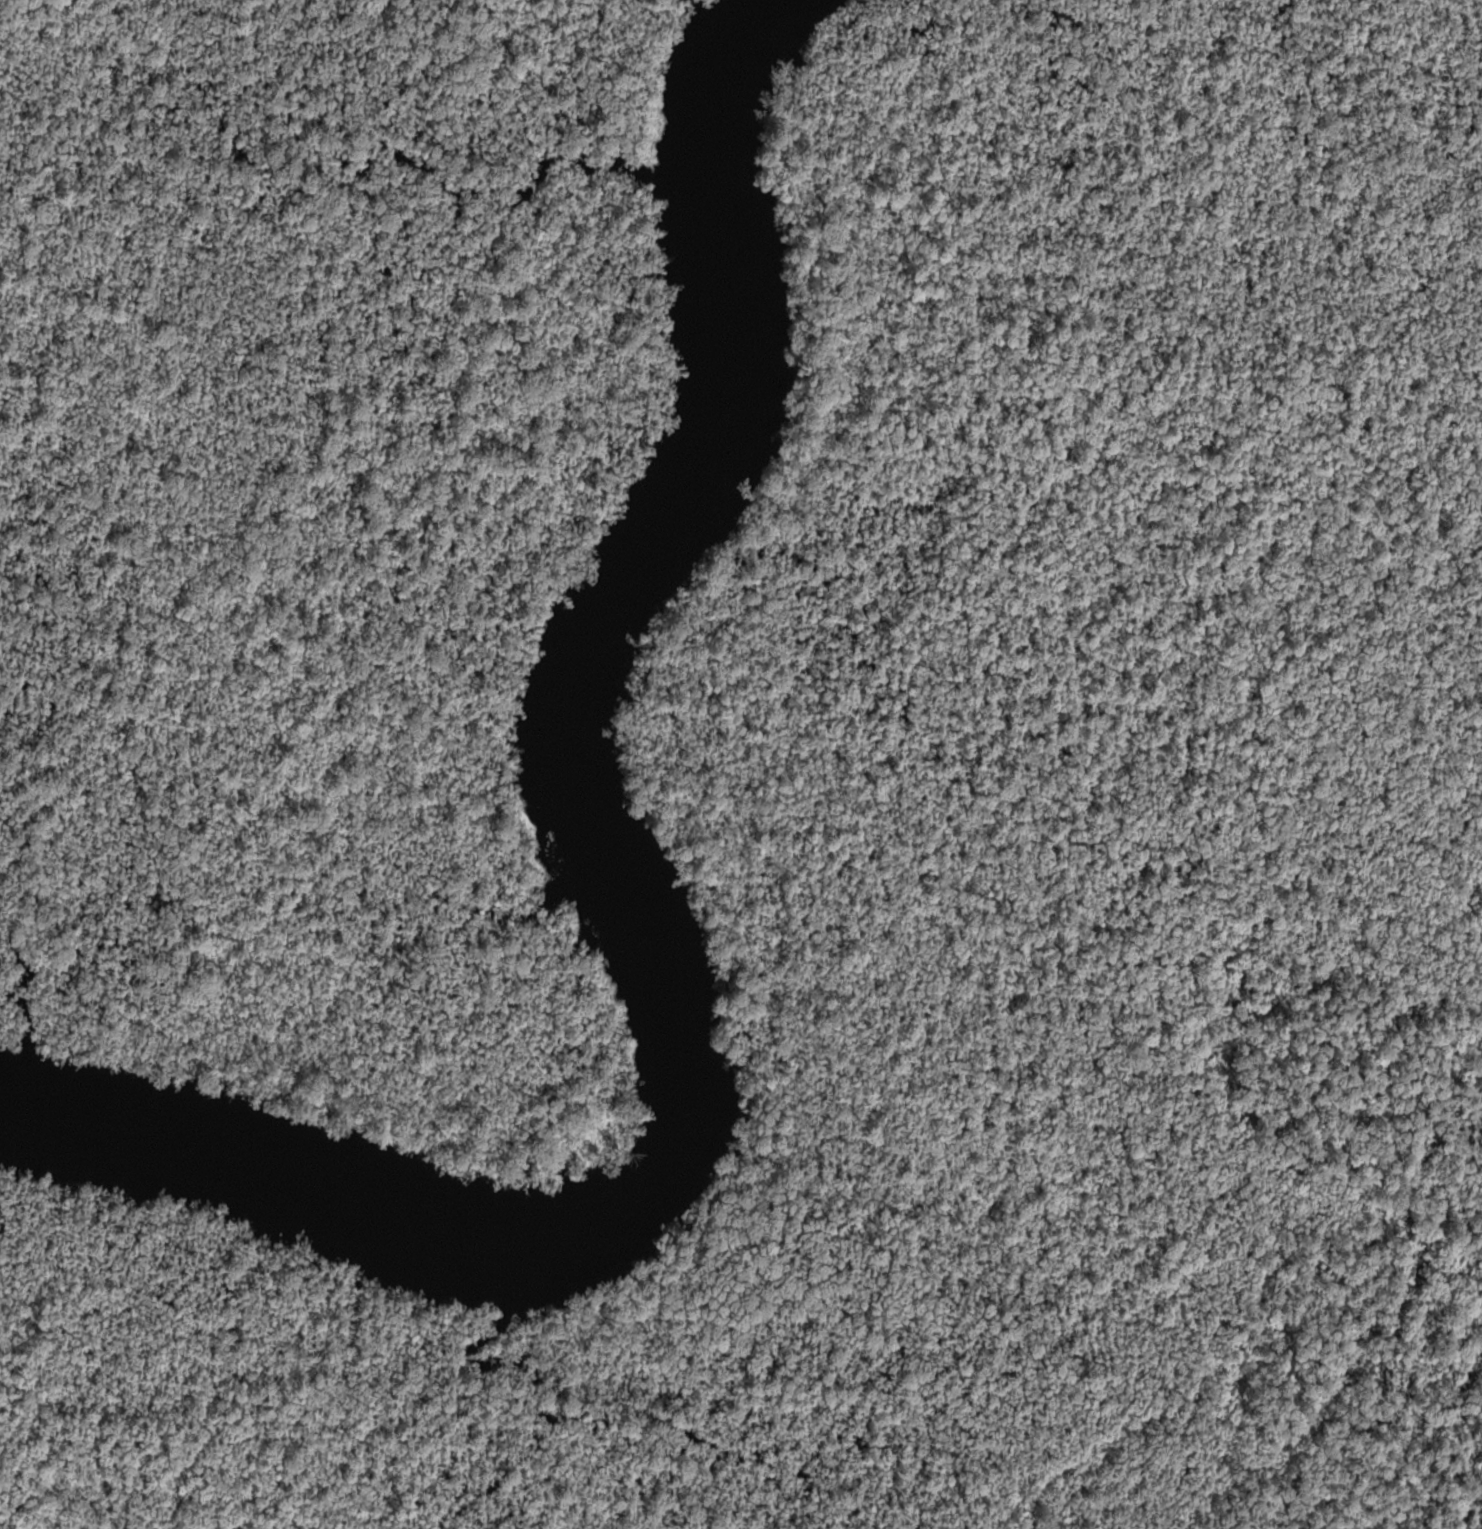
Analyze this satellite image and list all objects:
road: (1335, 1395)

